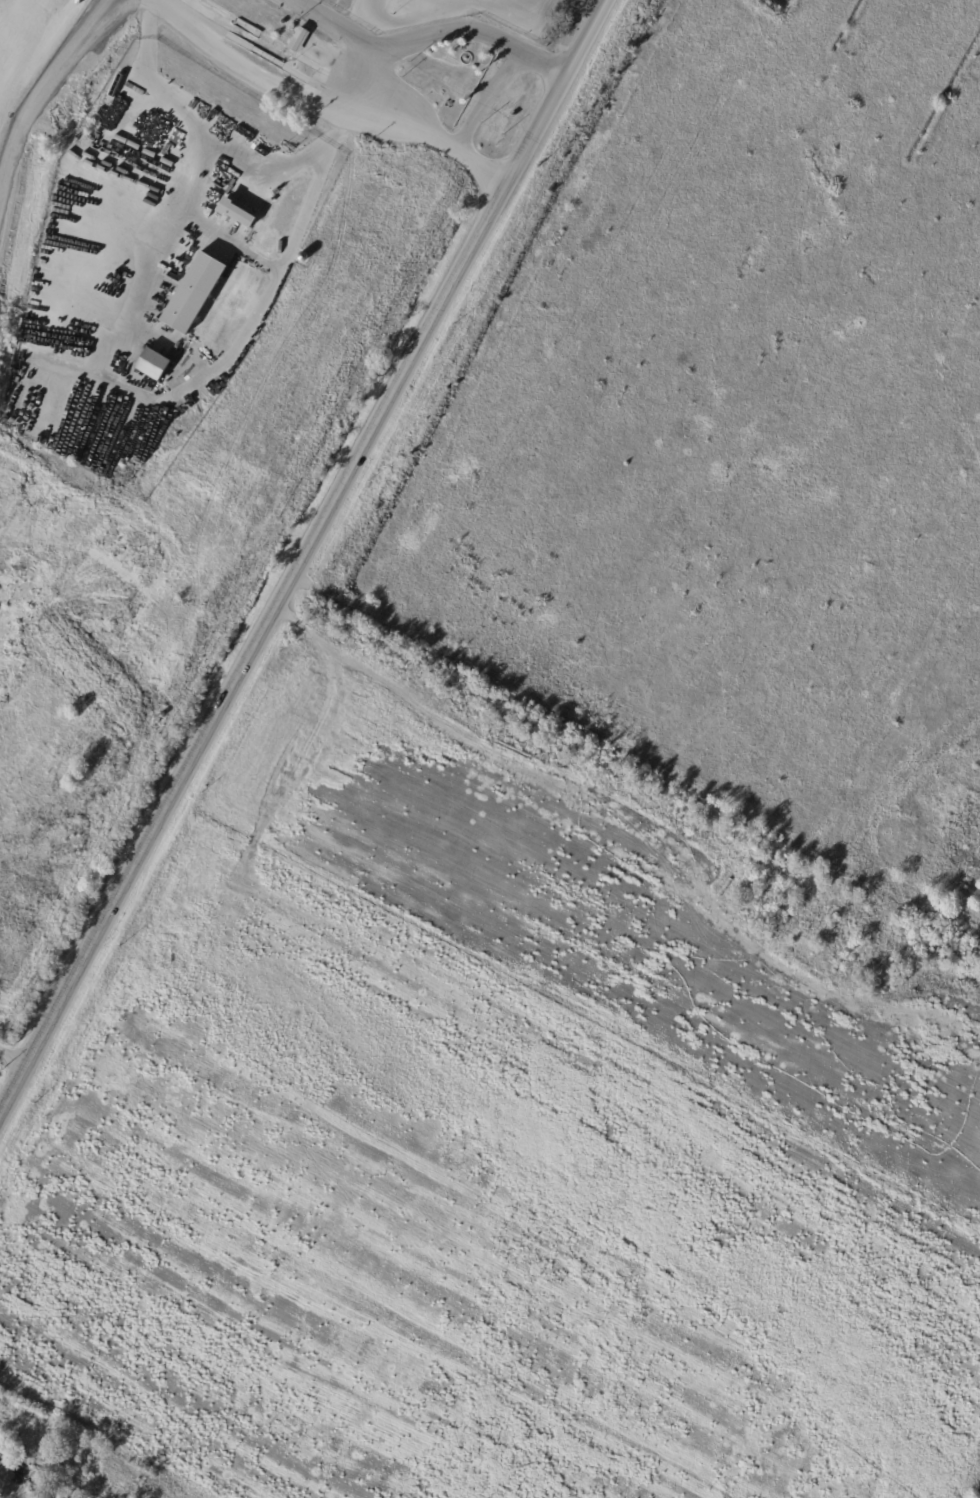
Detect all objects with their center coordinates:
road: (459, 5)
building: (489, 14)
road: (437, 33)
building: (297, 40)
road: (360, 41)
road: (542, 64)
road: (265, 75)
building: (455, 78)
building: (436, 86)
road: (487, 101)
road: (423, 130)
road: (213, 138)
road: (481, 167)
building: (235, 213)
road: (225, 239)
building: (194, 294)
building: (179, 351)
building: (152, 363)
road: (155, 407)
road: (302, 555)
building: (157, 720)
road: (13, 1053)

